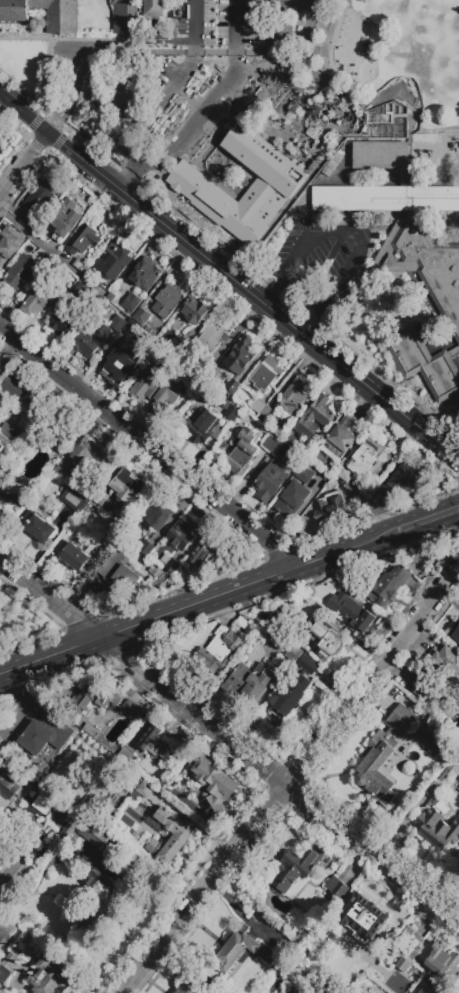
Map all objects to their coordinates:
building: (154, 8)
building: (61, 16)
building: (125, 16)
building: (287, 20)
road: (71, 40)
road: (159, 48)
road: (119, 55)
road: (293, 56)
park: (379, 61)
road: (50, 82)
parking lot: (186, 87)
road: (177, 96)
road: (345, 105)
building: (0, 141)
building: (1, 147)
building: (425, 159)
road: (90, 161)
road: (25, 162)
road: (125, 176)
road: (144, 177)
building: (269, 191)
building: (42, 196)
building: (64, 218)
building: (29, 223)
building: (404, 224)
road: (350, 234)
building: (83, 239)
building: (10, 243)
building: (116, 260)
building: (82, 265)
road: (222, 269)
building: (22, 271)
building: (144, 275)
building: (181, 289)
building: (81, 290)
building: (170, 298)
building: (38, 303)
building: (132, 303)
building: (194, 310)
building: (161, 311)
building: (141, 317)
road: (289, 323)
building: (118, 324)
building: (62, 325)
building: (143, 335)
building: (92, 340)
building: (208, 340)
building: (240, 356)
building: (164, 362)
building: (117, 363)
building: (425, 364)
building: (1, 367)
building: (211, 369)
building: (266, 375)
building: (233, 385)
road: (368, 386)
building: (15, 388)
building: (156, 391)
building: (33, 397)
building: (294, 397)
building: (262, 410)
building: (313, 418)
building: (210, 424)
building: (8, 430)
building: (62, 437)
building: (341, 437)
building: (290, 438)
building: (270, 443)
road: (440, 445)
building: (224, 446)
building: (245, 449)
road: (150, 450)
building: (279, 451)
building: (88, 454)
building: (364, 459)
building: (304, 473)
building: (401, 480)
building: (271, 481)
building: (129, 485)
building: (100, 498)
building: (72, 499)
building: (292, 499)
building: (7, 500)
building: (330, 507)
building: (155, 517)
road: (428, 519)
building: (38, 527)
building: (182, 533)
building: (116, 535)
building: (147, 551)
building: (206, 552)
building: (76, 558)
building: (173, 567)
building: (154, 572)
building: (119, 576)
building: (389, 587)
road: (51, 598)
road: (204, 603)
building: (352, 612)
building: (243, 622)
building: (455, 634)
building: (329, 639)
building: (220, 650)
building: (293, 654)
building: (447, 658)
building: (309, 666)
road: (5, 675)
road: (5, 679)
building: (250, 683)
building: (426, 690)
building: (290, 697)
building: (93, 700)
building: (132, 711)
building: (402, 721)
building: (458, 728)
building: (91, 731)
building: (53, 742)
building: (155, 742)
building: (124, 758)
building: (377, 769)
building: (438, 769)
road: (290, 780)
road: (280, 781)
building: (440, 783)
building: (213, 785)
building: (8, 787)
building: (144, 789)
building: (80, 814)
building: (58, 816)
building: (438, 828)
building: (183, 835)
building: (95, 837)
building: (4, 842)
building: (297, 868)
building: (373, 884)
building: (337, 887)
building: (99, 903)
building: (366, 915)
building: (6, 931)
building: (412, 937)
building: (239, 951)
building: (371, 951)
building: (444, 963)
building: (10, 965)
building: (404, 968)
building: (48, 976)
building: (186, 989)
building: (426, 989)

